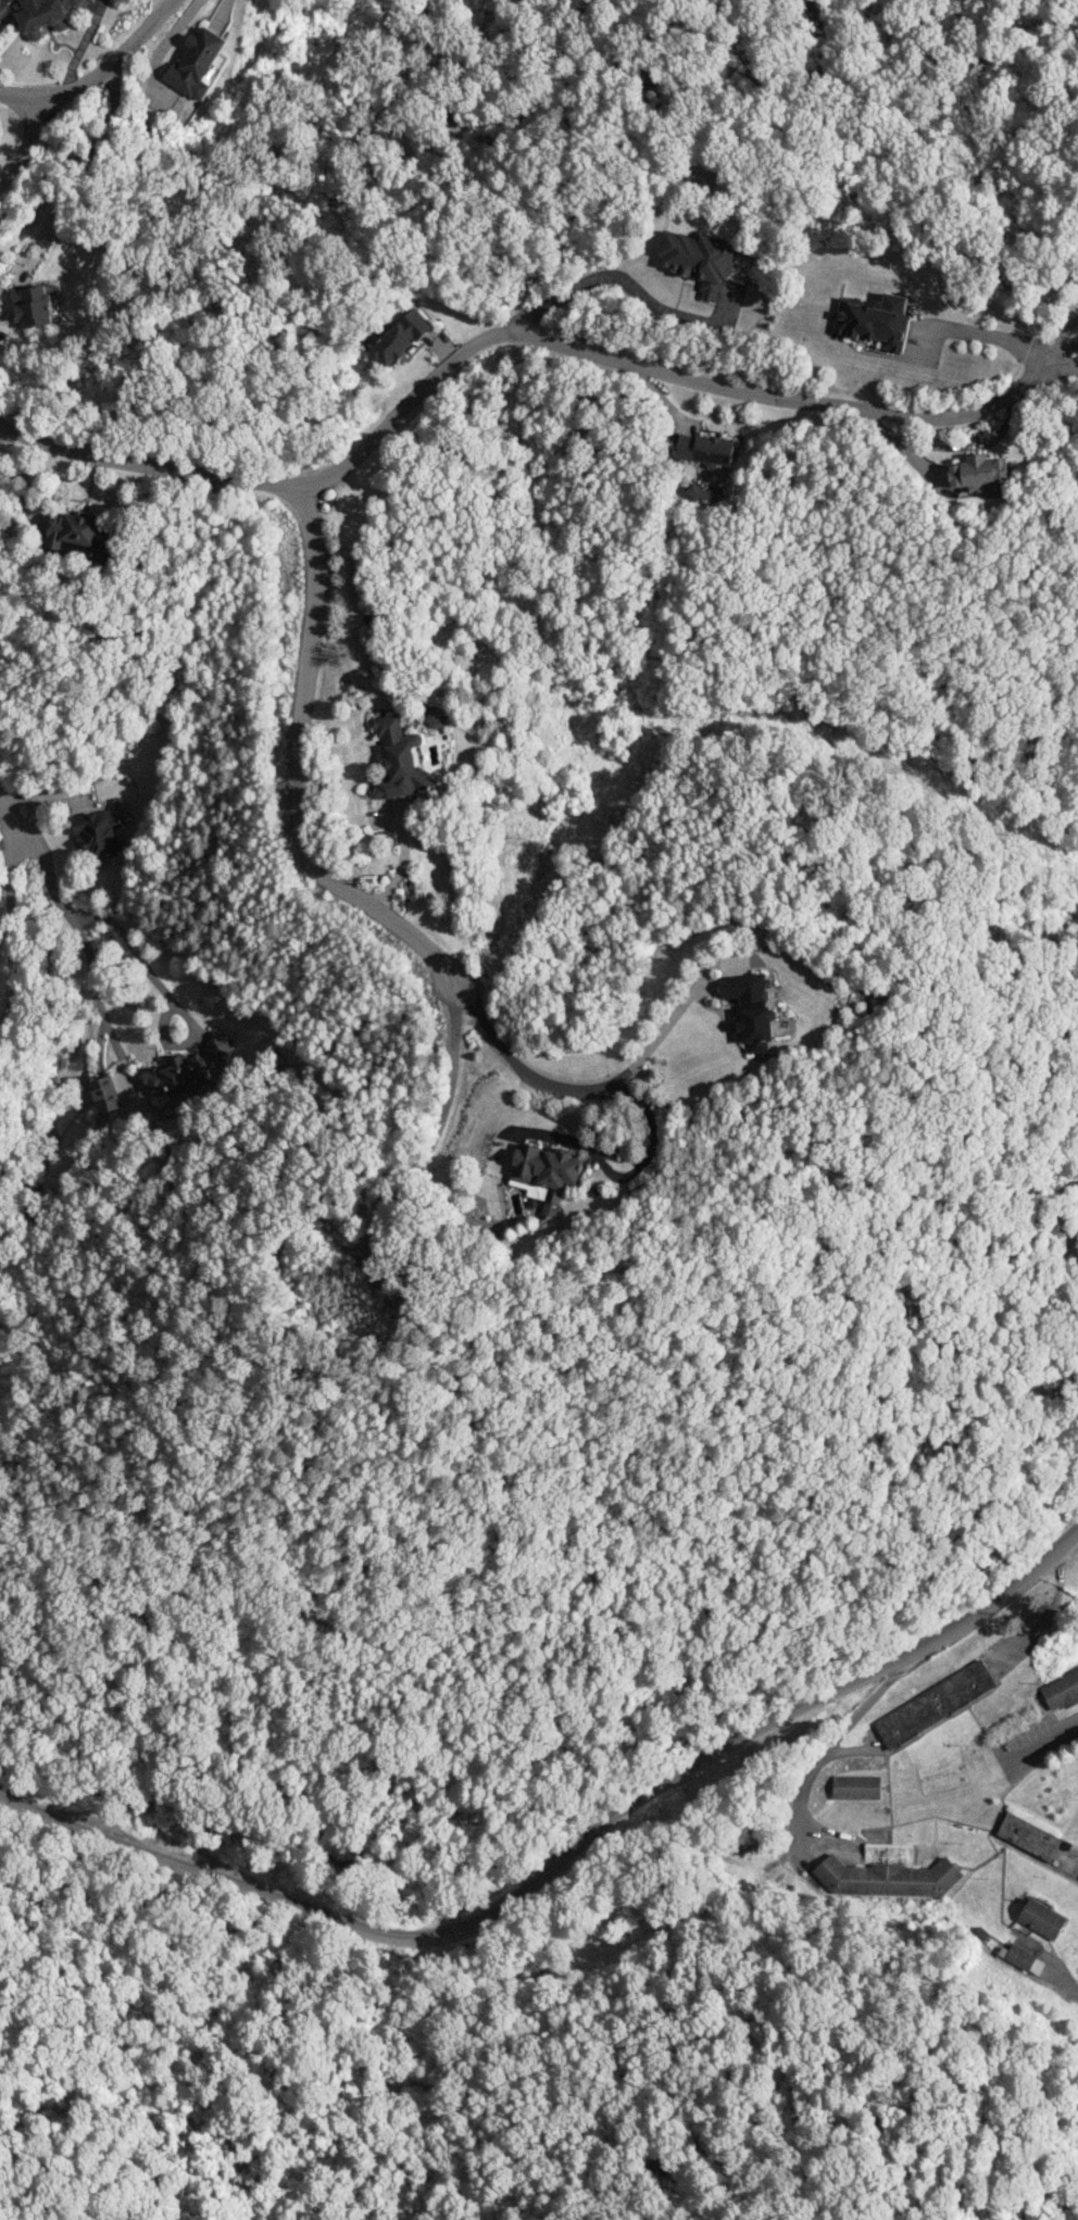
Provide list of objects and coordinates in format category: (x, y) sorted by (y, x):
building: (41, 15)
building: (196, 64)
road: (73, 88)
road: (18, 93)
building: (698, 260)
building: (33, 305)
building: (874, 321)
road: (517, 335)
building: (400, 338)
building: (705, 449)
building: (978, 473)
building: (704, 493)
building: (79, 534)
building: (436, 720)
building: (399, 758)
road: (14, 823)
building: (97, 832)
road: (317, 868)
road: (114, 925)
road: (13, 933)
road: (97, 995)
building: (750, 1009)
building: (189, 1067)
building: (105, 1094)
building: (544, 1174)
building: (1061, 1690)
building: (935, 1704)
road: (1039, 1744)
building: (856, 1788)
building: (1028, 1836)
road: (562, 1861)
building: (887, 1873)
building: (1041, 1919)
building: (1024, 1959)

